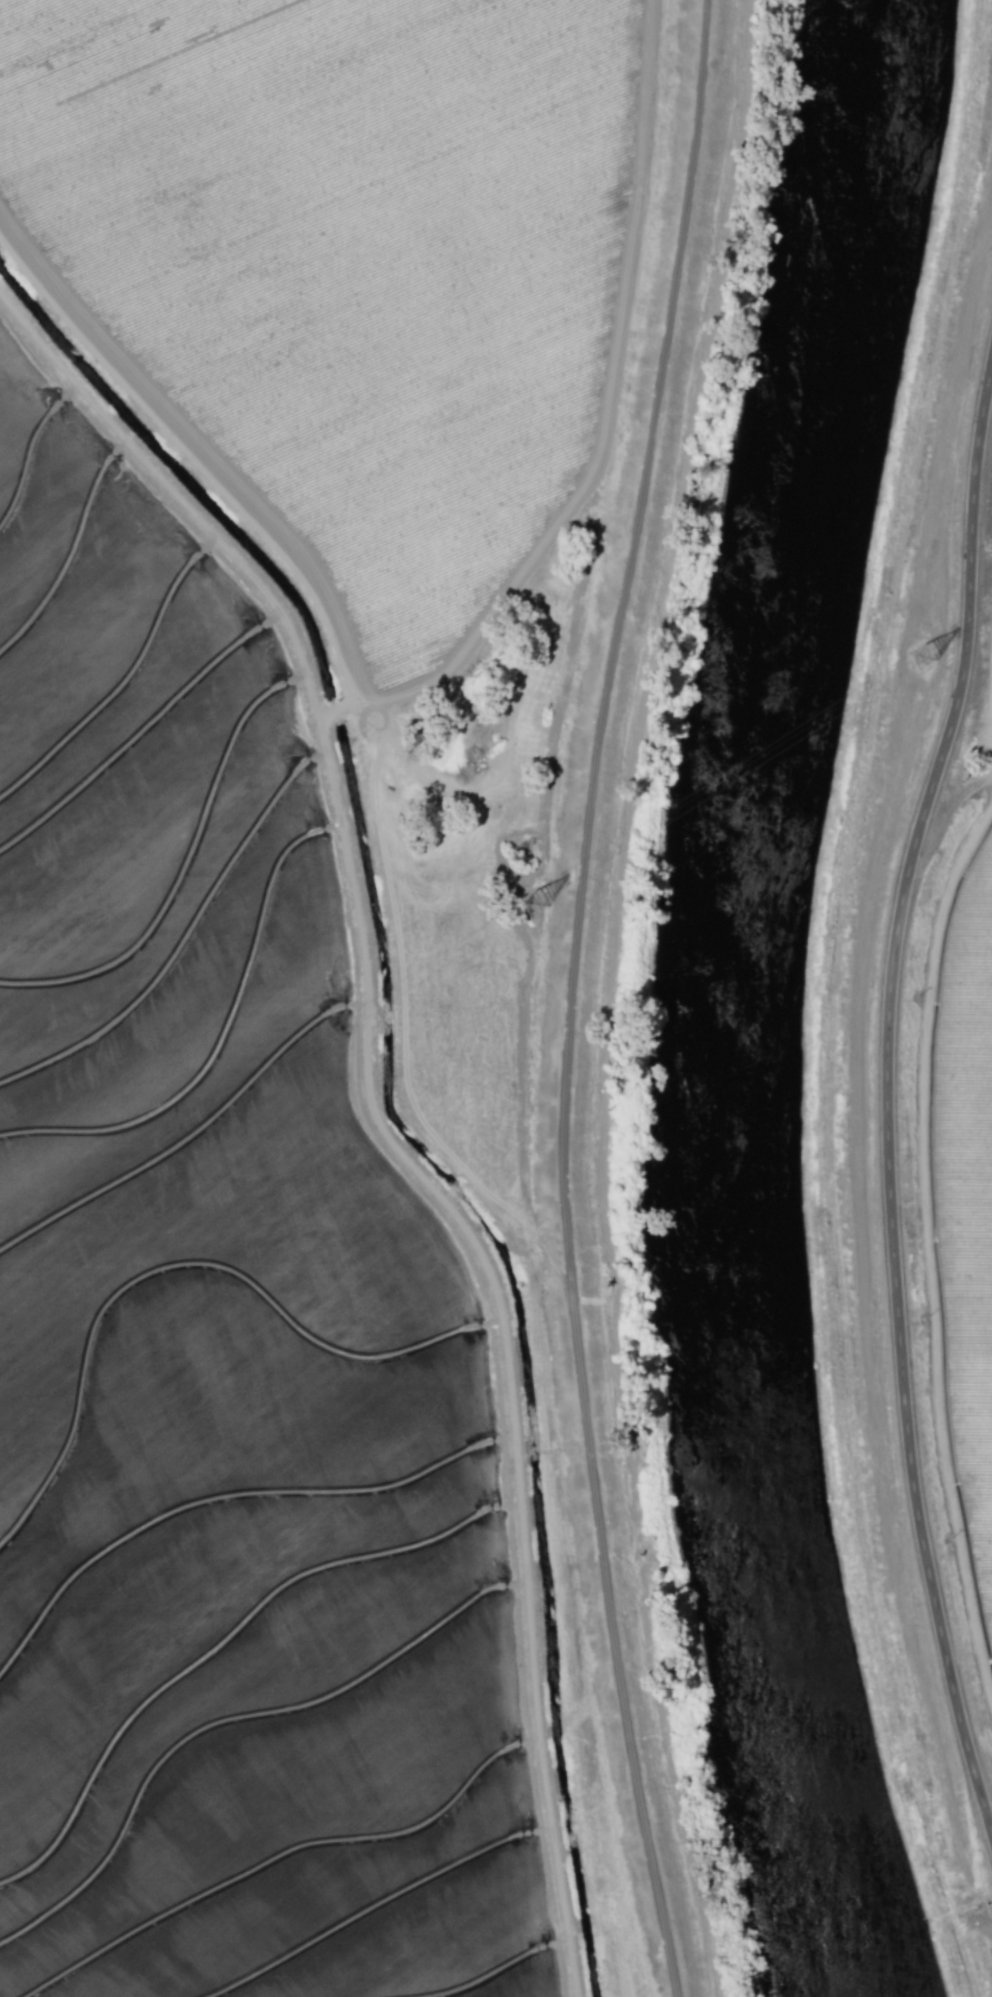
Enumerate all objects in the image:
power tower: (926, 658)
road: (990, 683)
power tower: (539, 908)
crop: (292, 977)
road: (573, 997)
river: (735, 999)
road: (886, 1092)
crop: (956, 1191)
road: (928, 1245)
road: (985, 1797)

